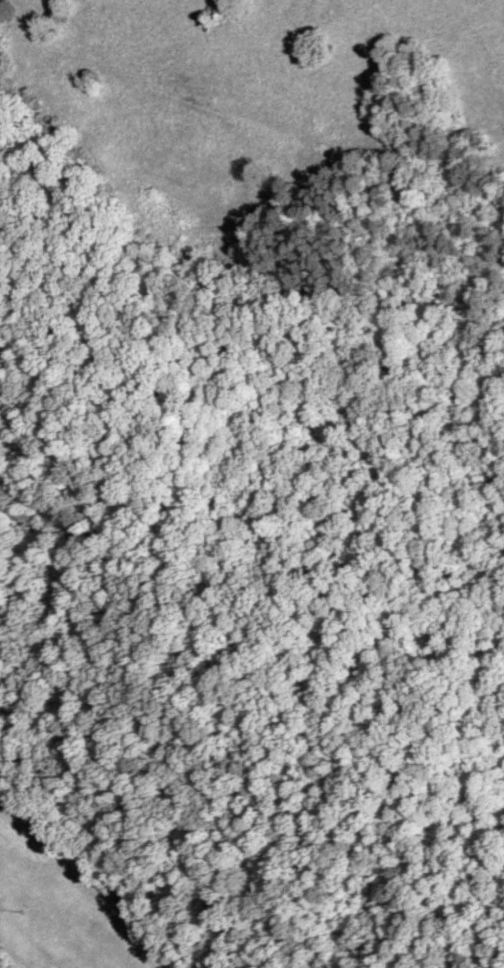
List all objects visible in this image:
road: (172, 959)

